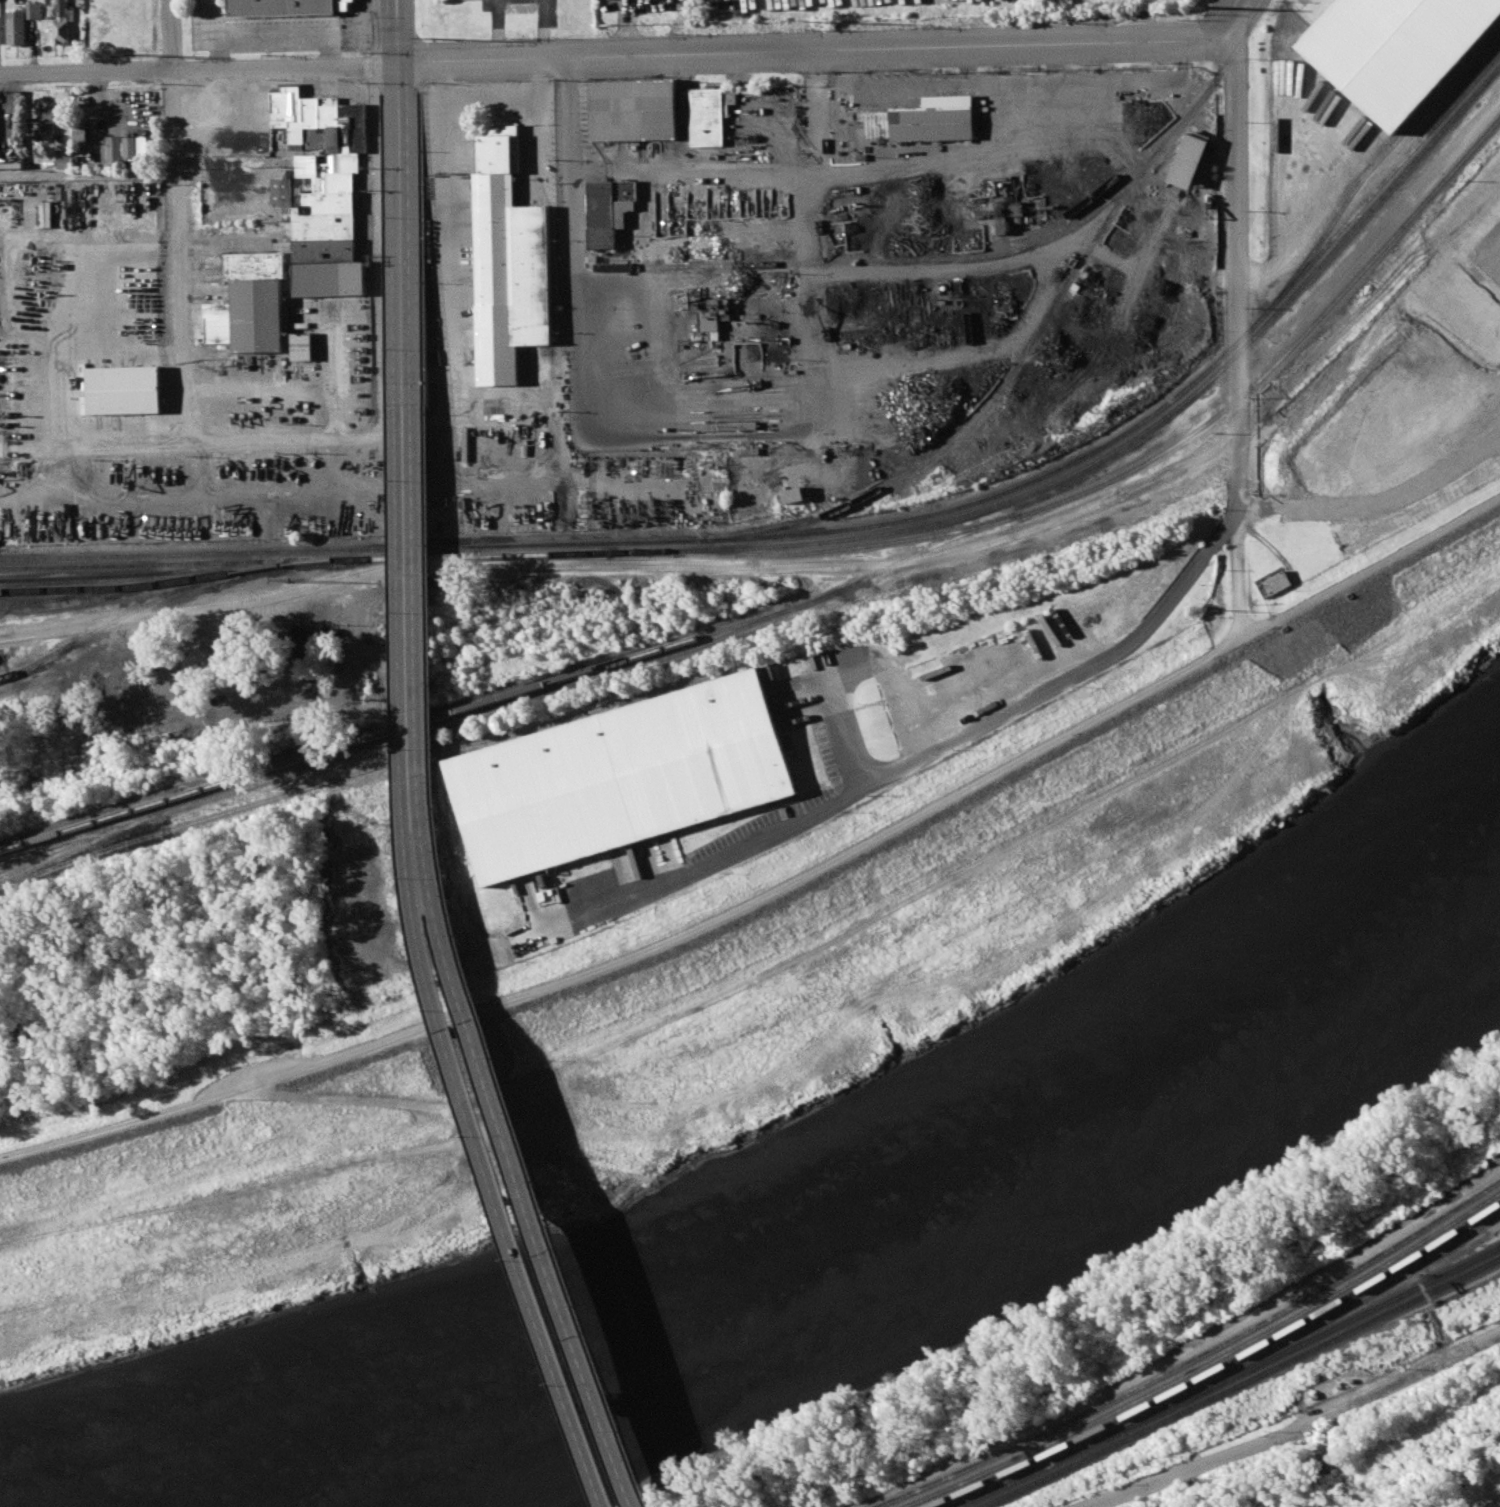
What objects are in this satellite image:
parking lot: (739, 3)
building: (344, 5)
power tower: (1205, 7)
building: (280, 8)
building: (35, 10)
road: (1226, 19)
building: (62, 21)
power tower: (824, 22)
building: (17, 27)
road: (497, 29)
road: (543, 29)
building: (1, 30)
road: (373, 30)
building: (83, 35)
road: (173, 35)
power tower: (433, 38)
road: (806, 50)
building: (1391, 50)
power tower: (125, 54)
road: (287, 66)
road: (364, 66)
railway: (1481, 70)
road: (87, 73)
road: (542, 79)
road: (364, 80)
road: (392, 82)
road: (817, 98)
road: (497, 101)
building: (634, 110)
building: (710, 115)
building: (53, 117)
building: (935, 120)
building: (80, 135)
building: (141, 146)
building: (113, 151)
building: (343, 151)
building: (1189, 159)
building: (69, 161)
railway: (1122, 173)
road: (89, 175)
road: (401, 203)
building: (611, 209)
building: (324, 225)
road: (575, 227)
road: (460, 233)
road: (420, 245)
road: (377, 247)
building: (324, 249)
road: (182, 256)
railway: (931, 260)
building: (508, 266)
building: (331, 278)
building: (256, 299)
building: (142, 304)
building: (708, 320)
building: (219, 323)
building: (1453, 331)
railway: (1036, 333)
road: (1237, 333)
building: (303, 346)
road: (1368, 350)
building: (122, 390)
road: (286, 437)
road: (95, 444)
railway: (1145, 464)
railway: (1068, 466)
railway: (1068, 476)
building: (793, 494)
railway: (1097, 537)
railway: (849, 549)
railway: (239, 554)
railway: (411, 554)
railway: (985, 559)
railway: (239, 562)
road: (684, 567)
railway: (131, 576)
building: (1274, 583)
railway: (125, 589)
railway: (81, 591)
railway: (167, 593)
road: (411, 595)
railway: (31, 601)
road: (55, 630)
railway: (739, 631)
railway: (85, 634)
road: (853, 665)
railway: (342, 747)
road: (928, 753)
railway: (344, 756)
railway: (378, 769)
building: (624, 778)
railway: (74, 846)
road: (778, 896)
road: (463, 970)
road: (518, 1149)
road: (490, 1151)
river: (865, 1255)
railway: (1306, 1300)
railway: (1308, 1308)
railway: (1309, 1319)
railway: (1313, 1326)
railway: (1311, 1338)
railway: (1312, 1348)
road: (1301, 1428)
railway: (992, 1457)
railway: (1006, 1461)
railway: (1019, 1465)
railway: (1038, 1469)
railway: (1053, 1473)
power tower: (1338, 1503)
building: (1499, 1506)

